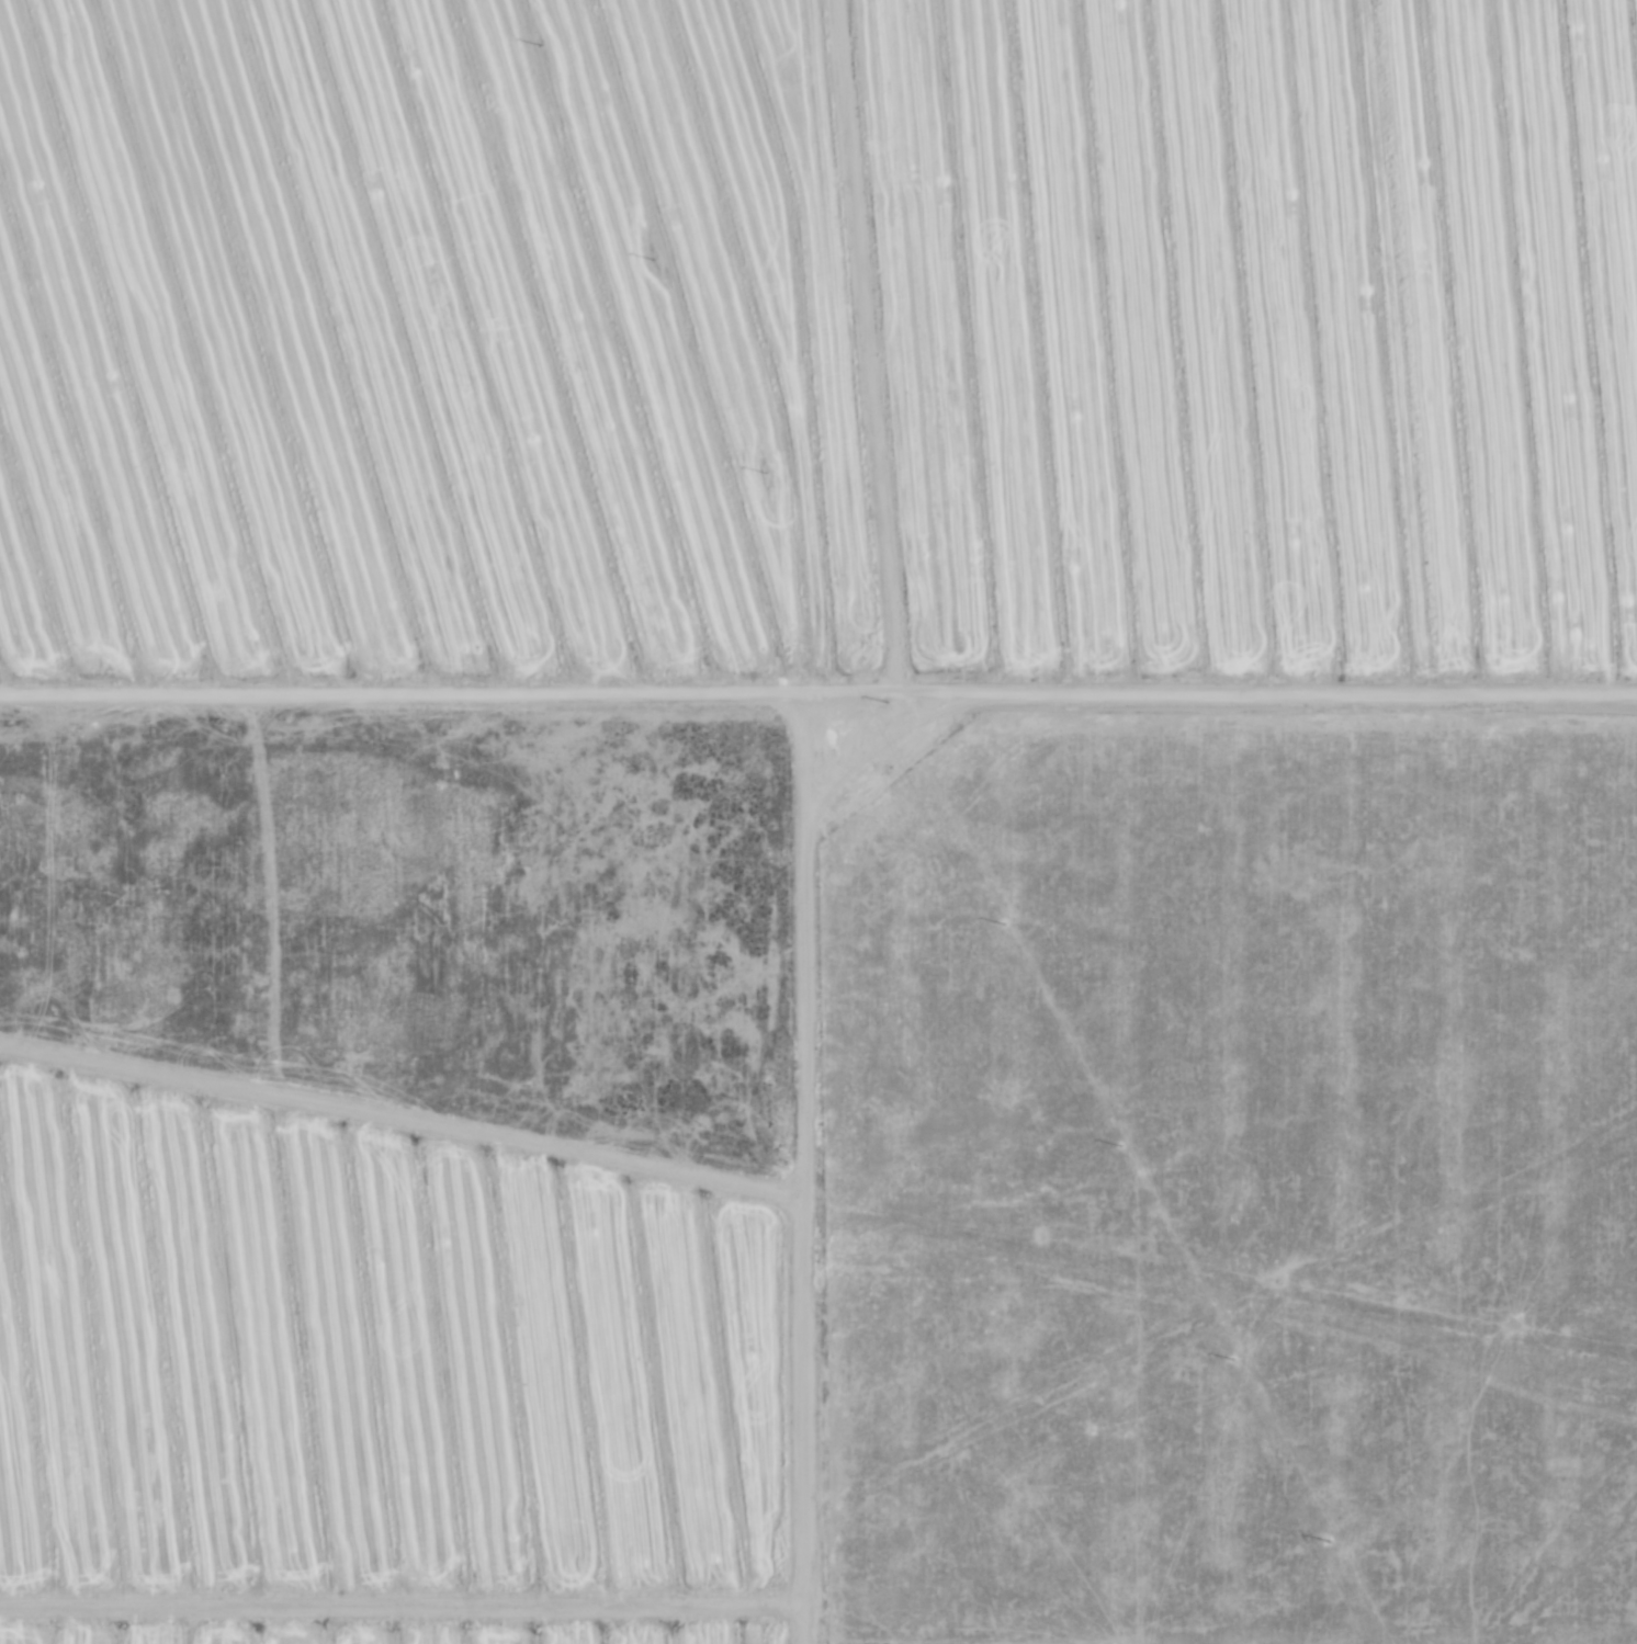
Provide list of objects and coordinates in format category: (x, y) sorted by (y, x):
road: (1221, 702)
road: (801, 1172)
road: (1534, 1561)

